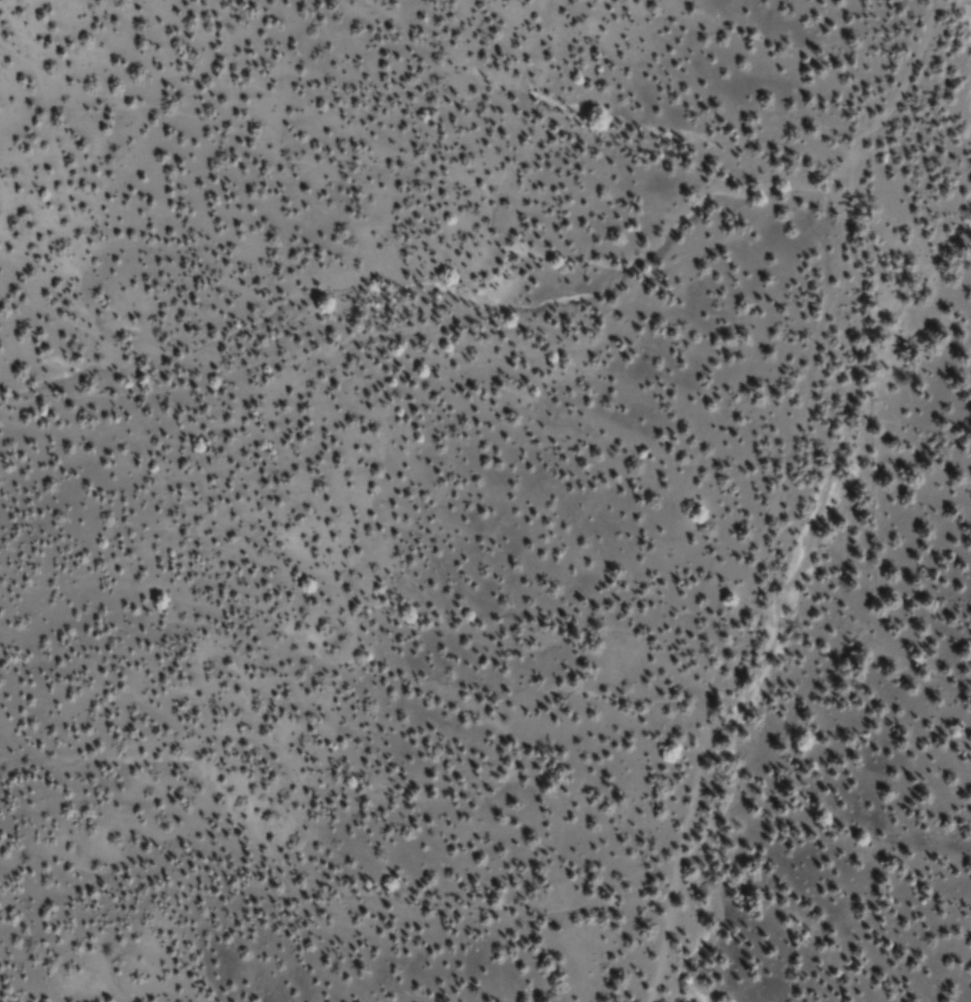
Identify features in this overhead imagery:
road: (764, 497)

